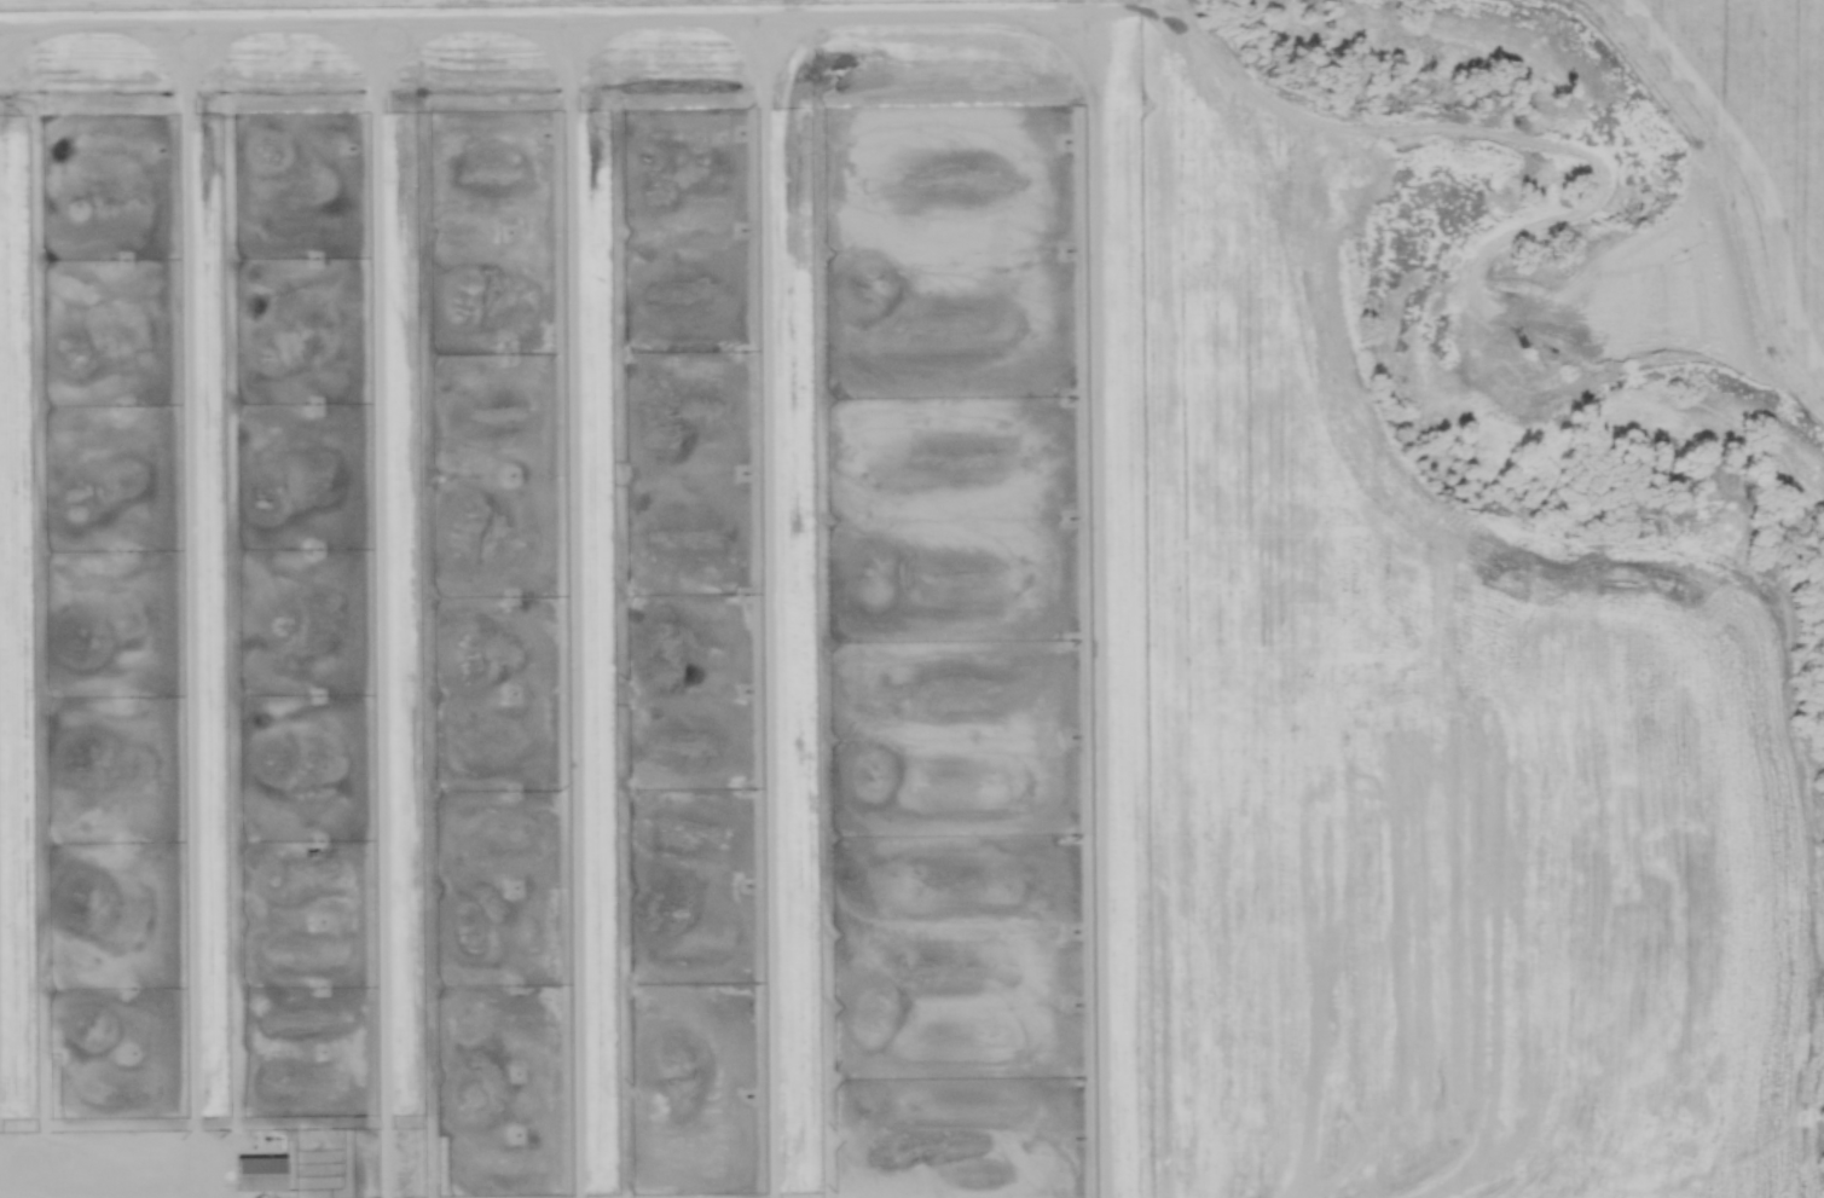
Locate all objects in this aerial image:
building: (739, 995)
building: (262, 1174)

